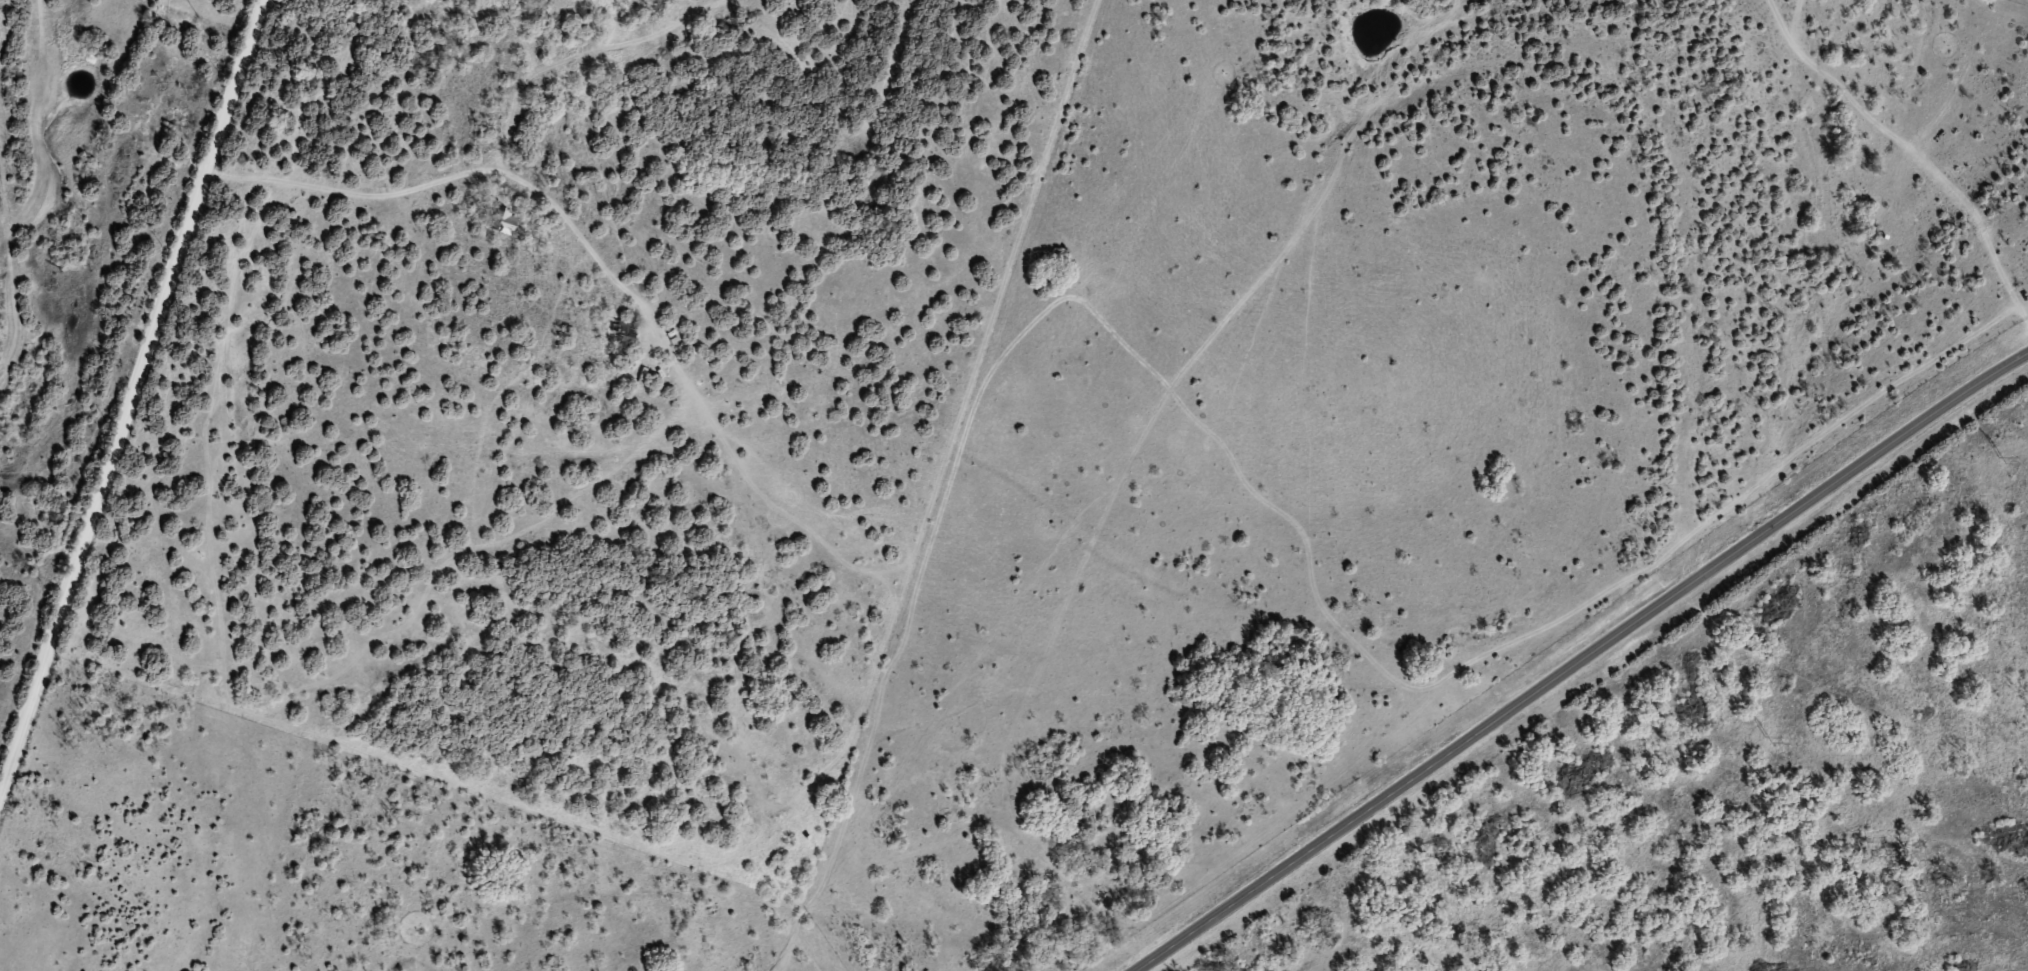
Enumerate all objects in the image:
road: (129, 447)
power tower: (1999, 458)
road: (1580, 660)
power tower: (1762, 739)

